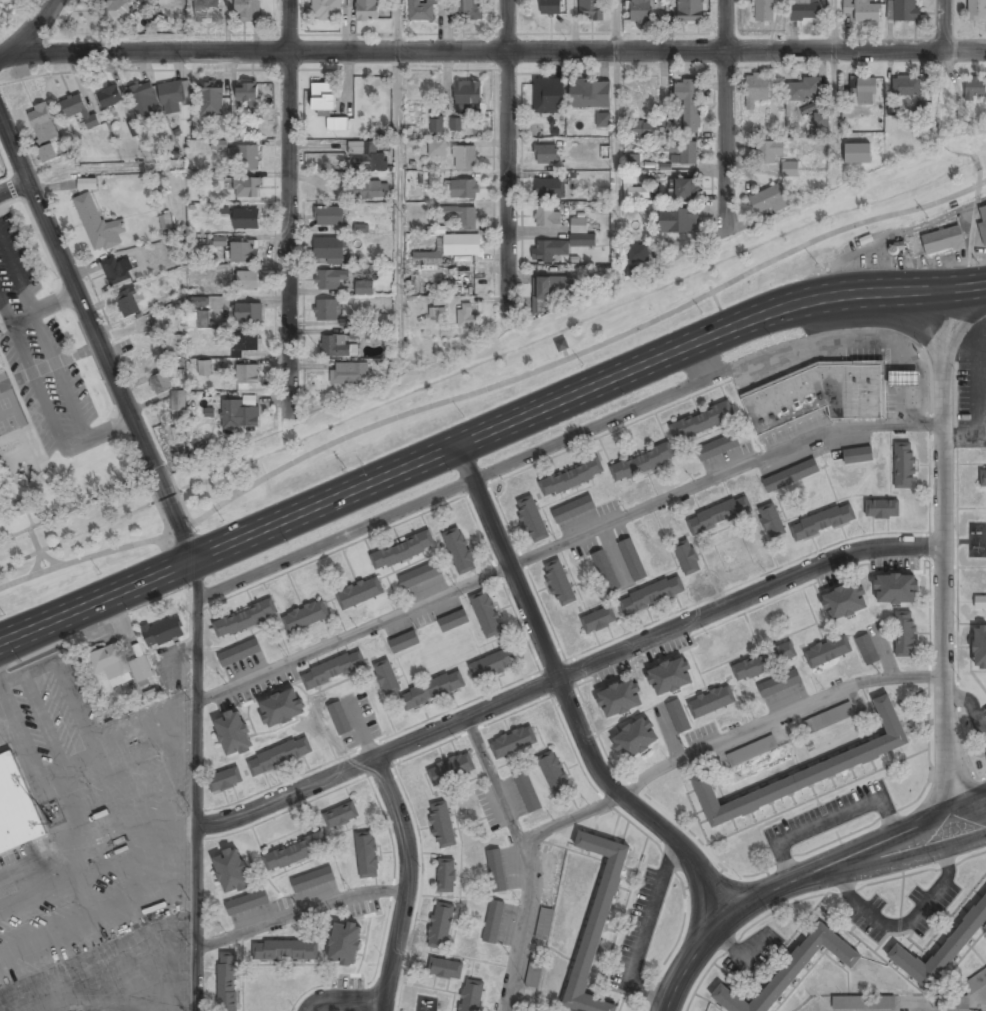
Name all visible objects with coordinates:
building: (549, 7)
building: (326, 9)
building: (469, 9)
building: (590, 9)
building: (976, 9)
building: (116, 10)
building: (206, 10)
building: (247, 10)
building: (367, 10)
building: (421, 10)
building: (690, 10)
building: (763, 10)
building: (804, 10)
building: (862, 10)
building: (903, 10)
building: (640, 11)
road: (30, 32)
road: (497, 51)
road: (943, 65)
building: (906, 86)
building: (756, 88)
building: (975, 88)
building: (803, 89)
building: (863, 90)
road: (835, 92)
building: (247, 93)
building: (590, 94)
building: (172, 95)
building: (323, 96)
building: (548, 96)
building: (110, 97)
building: (468, 97)
building: (211, 98)
building: (144, 101)
building: (688, 103)
building: (890, 108)
building: (78, 109)
road: (724, 116)
building: (819, 119)
building: (603, 120)
building: (337, 124)
building: (455, 124)
building: (436, 125)
building: (641, 127)
building: (43, 129)
road: (616, 131)
building: (436, 148)
building: (681, 152)
building: (768, 153)
building: (545, 154)
road: (505, 156)
building: (247, 157)
building: (365, 157)
building: (464, 158)
building: (632, 161)
building: (790, 169)
road: (398, 176)
building: (86, 183)
building: (246, 187)
building: (634, 188)
road: (13, 189)
building: (464, 189)
building: (550, 189)
building: (683, 189)
building: (368, 190)
building: (769, 200)
road: (288, 206)
building: (462, 215)
building: (328, 216)
building: (547, 217)
building: (246, 218)
building: (166, 221)
building: (677, 221)
building: (982, 222)
building: (98, 224)
building: (360, 228)
building: (580, 233)
building: (943, 240)
building: (220, 241)
building: (450, 247)
building: (329, 248)
building: (548, 250)
building: (243, 252)
building: (638, 254)
building: (117, 270)
building: (329, 279)
building: (247, 281)
building: (551, 287)
road: (962, 287)
building: (364, 288)
building: (127, 302)
building: (197, 302)
building: (434, 308)
building: (326, 310)
building: (248, 312)
building: (466, 316)
building: (195, 319)
building: (359, 333)
road: (96, 341)
building: (246, 343)
building: (172, 345)
building: (336, 347)
park: (556, 351)
building: (204, 370)
building: (349, 373)
building: (247, 375)
building: (904, 378)
building: (160, 383)
road: (493, 385)
building: (817, 394)
building: (178, 406)
building: (239, 415)
building: (702, 420)
park: (59, 438)
road: (463, 442)
building: (717, 447)
building: (858, 455)
building: (642, 463)
building: (904, 465)
road: (722, 472)
building: (790, 475)
building: (571, 478)
building: (983, 479)
building: (881, 508)
building: (572, 509)
building: (718, 515)
building: (532, 519)
building: (771, 521)
building: (822, 521)
road: (333, 539)
road: (945, 548)
park: (82, 549)
building: (402, 551)
building: (459, 551)
building: (686, 557)
building: (632, 559)
building: (605, 572)
building: (419, 575)
building: (559, 583)
building: (895, 588)
building: (360, 593)
building: (652, 594)
road: (749, 596)
building: (844, 602)
building: (980, 602)
building: (486, 614)
building: (305, 616)
building: (245, 619)
building: (598, 620)
building: (453, 621)
road: (352, 631)
building: (163, 632)
building: (905, 634)
building: (403, 642)
building: (979, 647)
building: (867, 649)
building: (827, 651)
building: (239, 653)
building: (764, 662)
building: (117, 664)
building: (492, 664)
building: (332, 669)
building: (385, 677)
building: (669, 677)
building: (779, 683)
building: (432, 690)
road: (570, 699)
building: (619, 700)
building: (711, 702)
building: (281, 708)
road: (779, 714)
building: (677, 717)
building: (828, 717)
building: (339, 718)
road: (466, 718)
building: (233, 734)
building: (635, 739)
building: (513, 742)
building: (752, 750)
building: (279, 756)
building: (451, 769)
building: (808, 769)
building: (553, 773)
building: (225, 780)
road: (196, 784)
building: (526, 791)
road: (284, 793)
building: (16, 808)
building: (340, 815)
road: (572, 817)
building: (442, 825)
road: (886, 833)
building: (294, 852)
building: (367, 855)
building: (494, 857)
road: (527, 859)
road: (890, 866)
building: (232, 872)
building: (446, 875)
building: (312, 880)
road: (405, 881)
building: (246, 902)
road: (300, 913)
building: (493, 921)
building: (596, 921)
building: (544, 924)
building: (440, 925)
road: (715, 934)
building: (345, 943)
building: (941, 949)
building: (285, 950)
building: (445, 969)
building: (791, 969)
building: (534, 971)
building: (975, 981)
building: (227, 982)
building: (471, 996)
road: (346, 1000)
building: (863, 1002)
building: (952, 1002)

